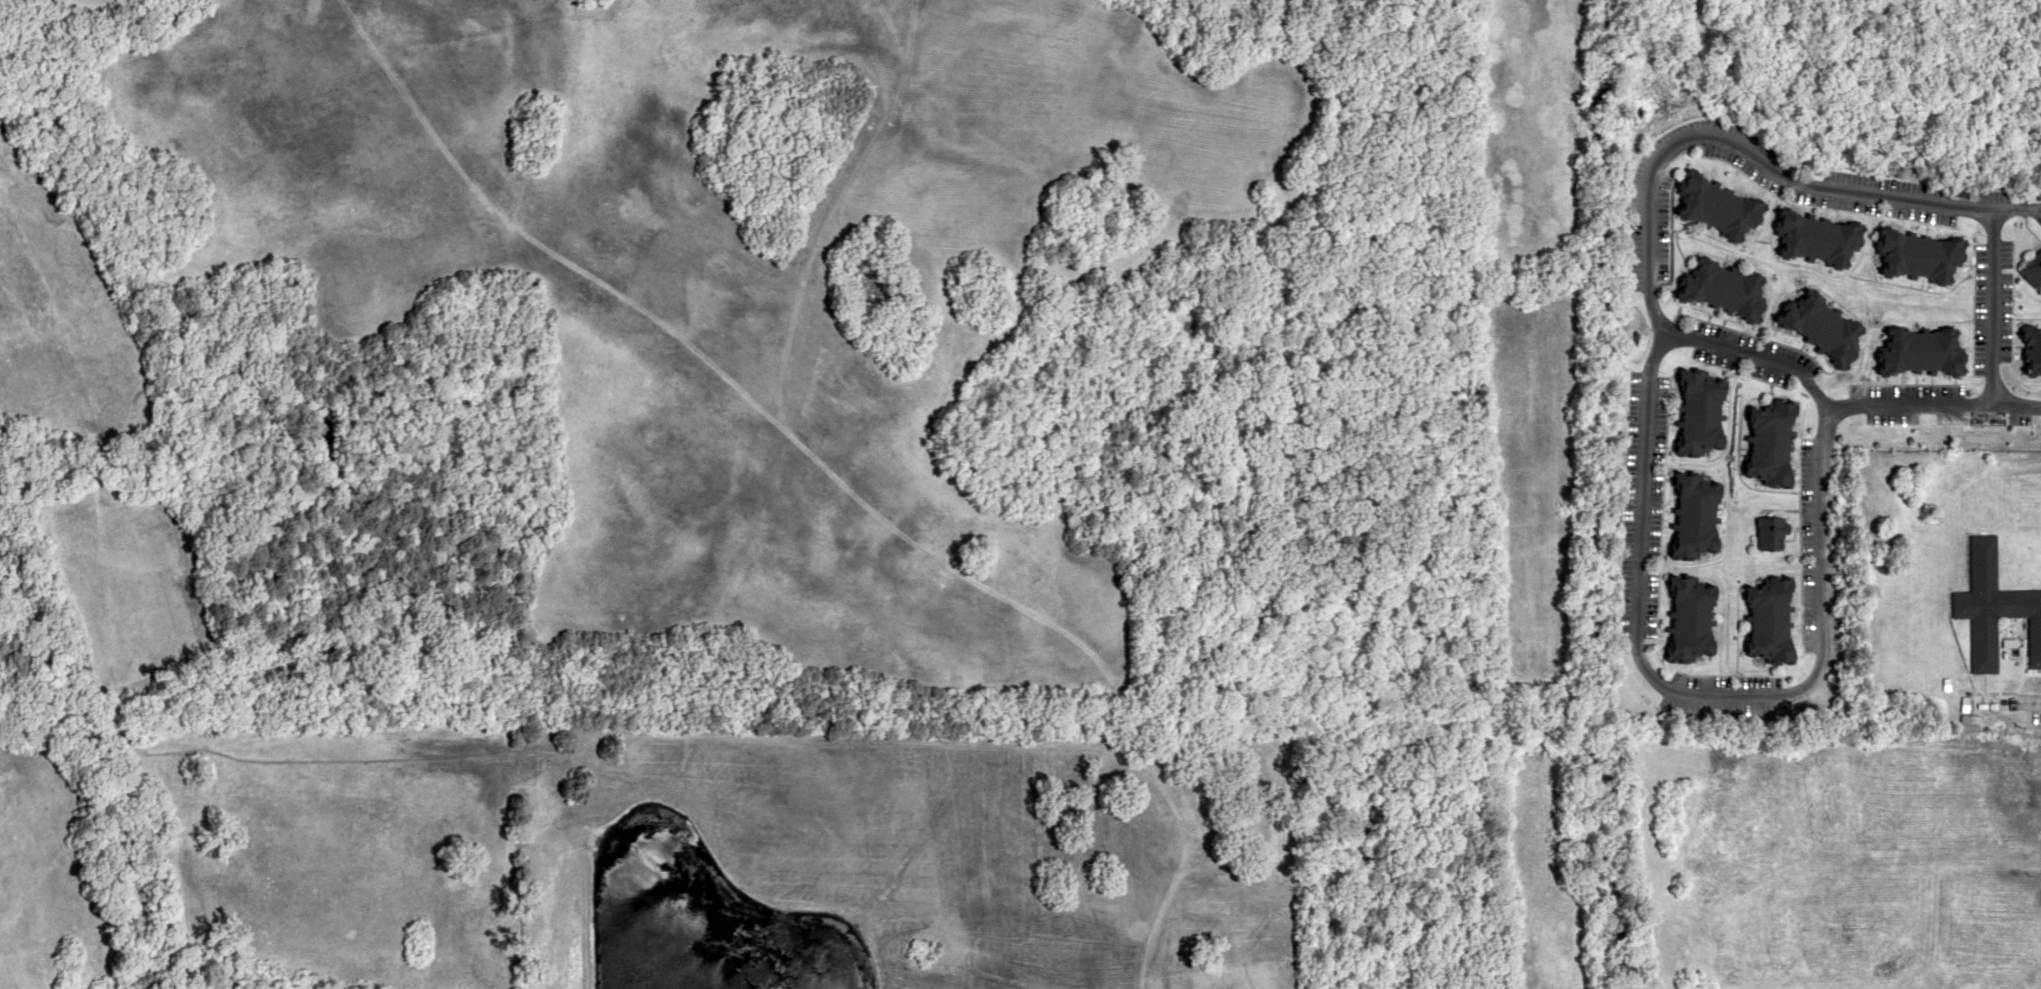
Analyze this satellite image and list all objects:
building: (1717, 207)
building: (1817, 239)
building: (1919, 257)
building: (2032, 271)
building: (1725, 289)
road: (1990, 304)
building: (1822, 326)
building: (1920, 351)
building: (2031, 351)
road: (1837, 405)
building: (1701, 413)
road: (1641, 432)
building: (1771, 444)
building: (1693, 516)
building: (1770, 532)
building: (1994, 608)
building: (1691, 619)
building: (1769, 620)

